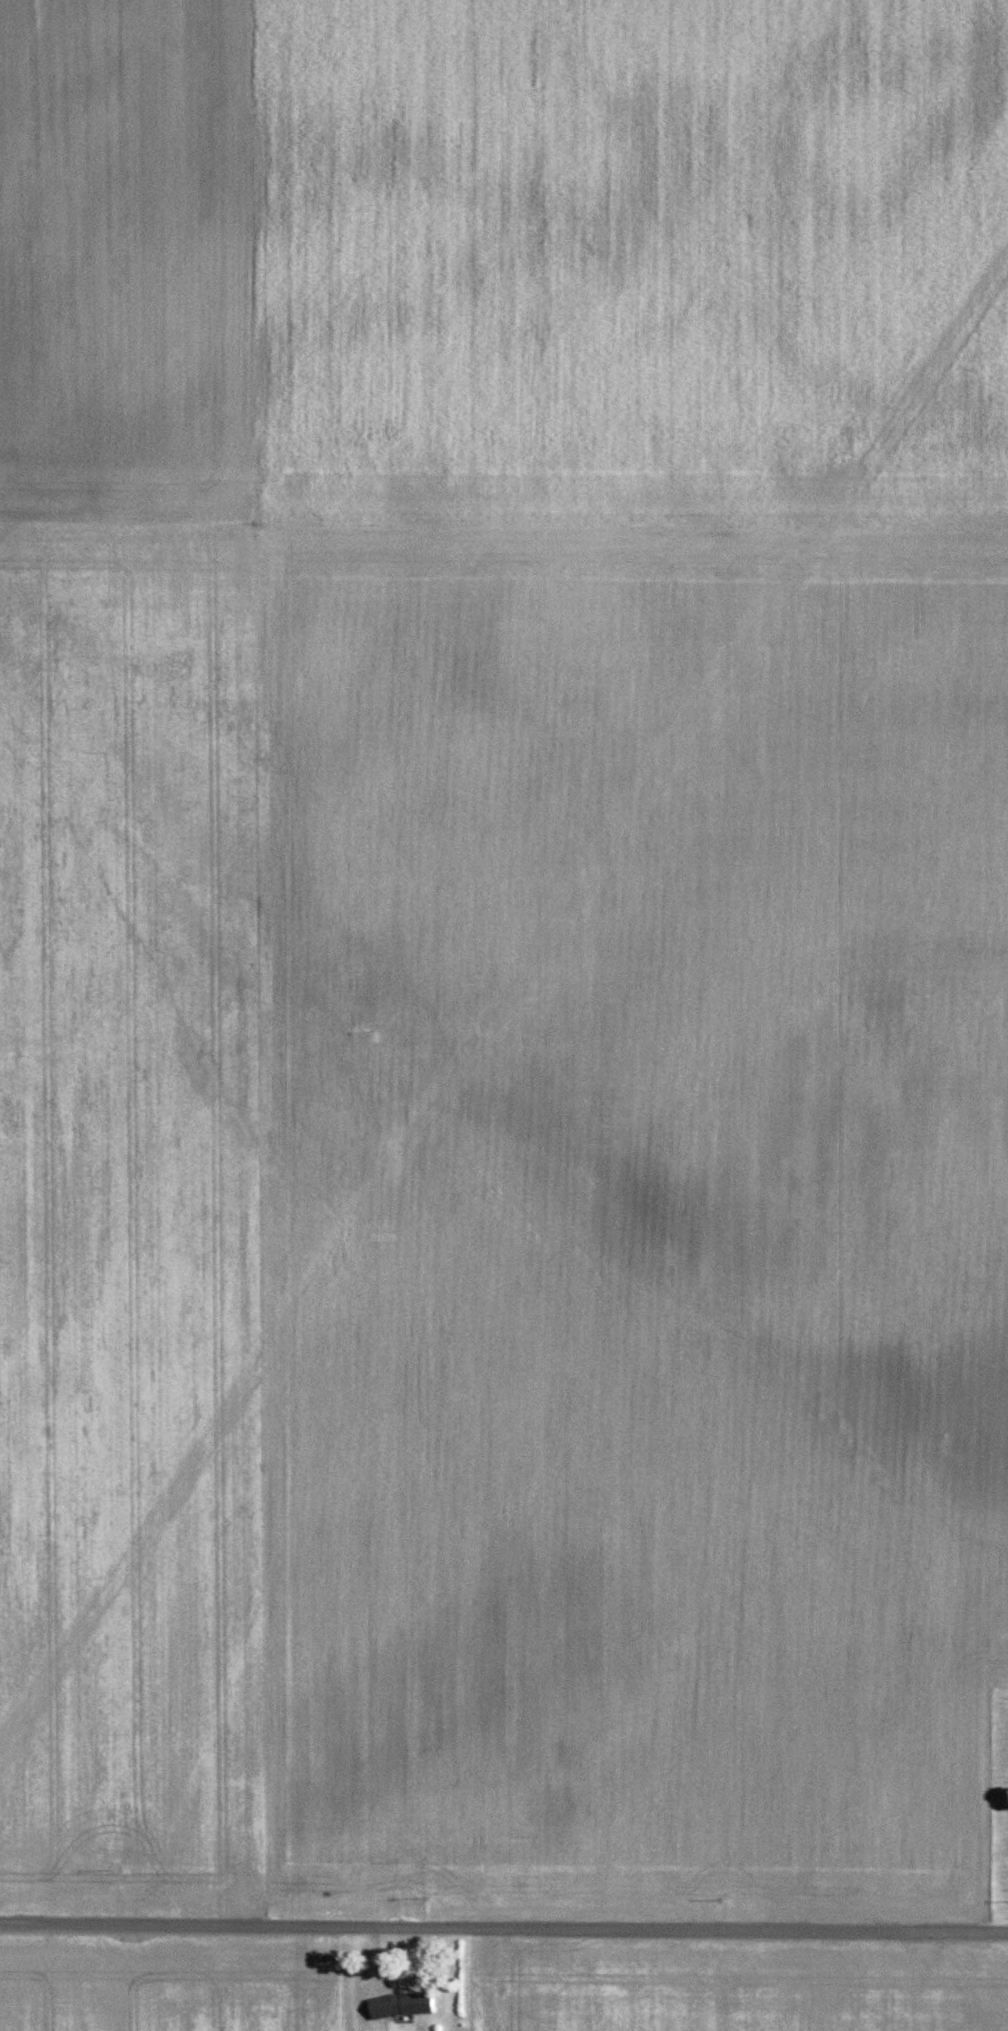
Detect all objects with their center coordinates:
road: (504, 1929)
building: (401, 2004)

